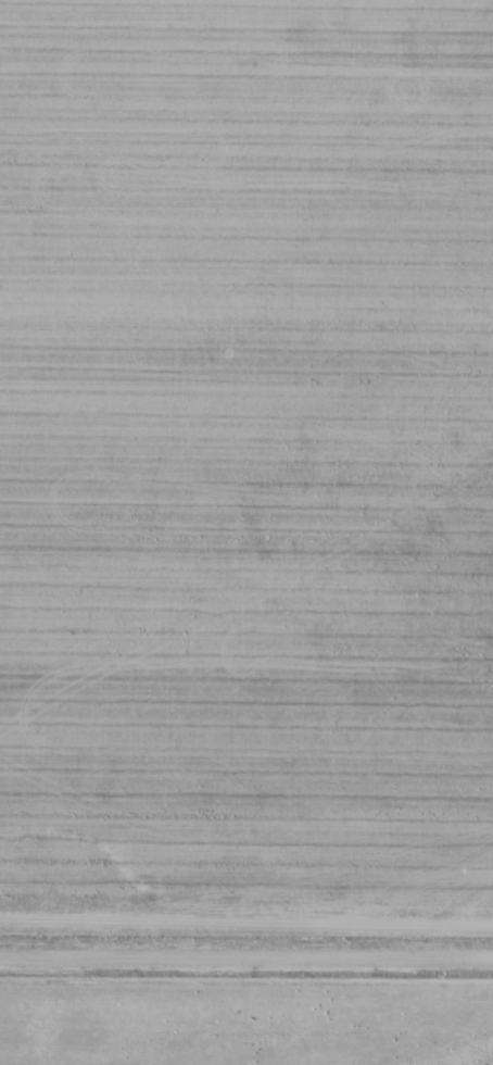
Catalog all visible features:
road: (246, 958)

